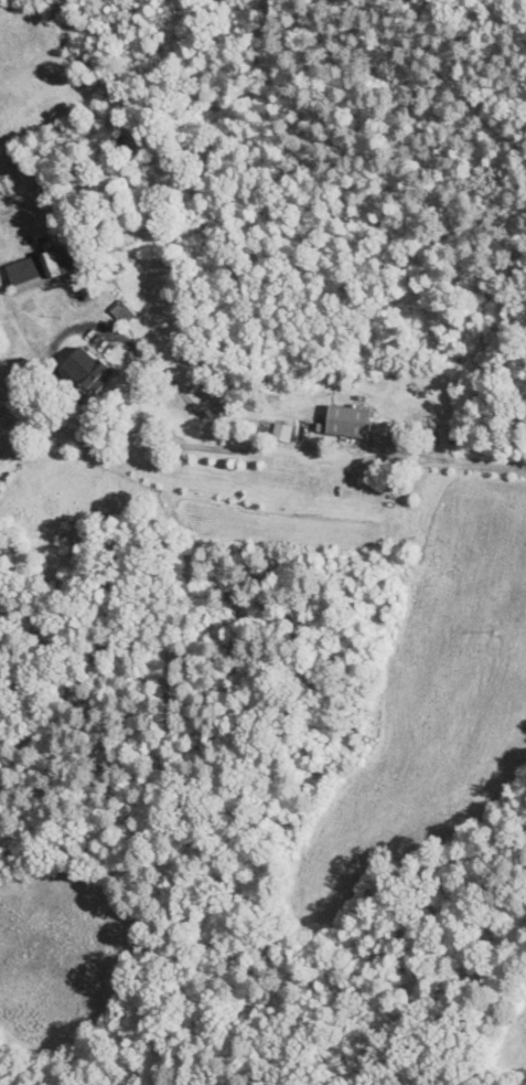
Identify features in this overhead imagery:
building: (44, 266)
road: (54, 347)
building: (90, 368)
building: (351, 419)
building: (283, 430)
road: (391, 456)

